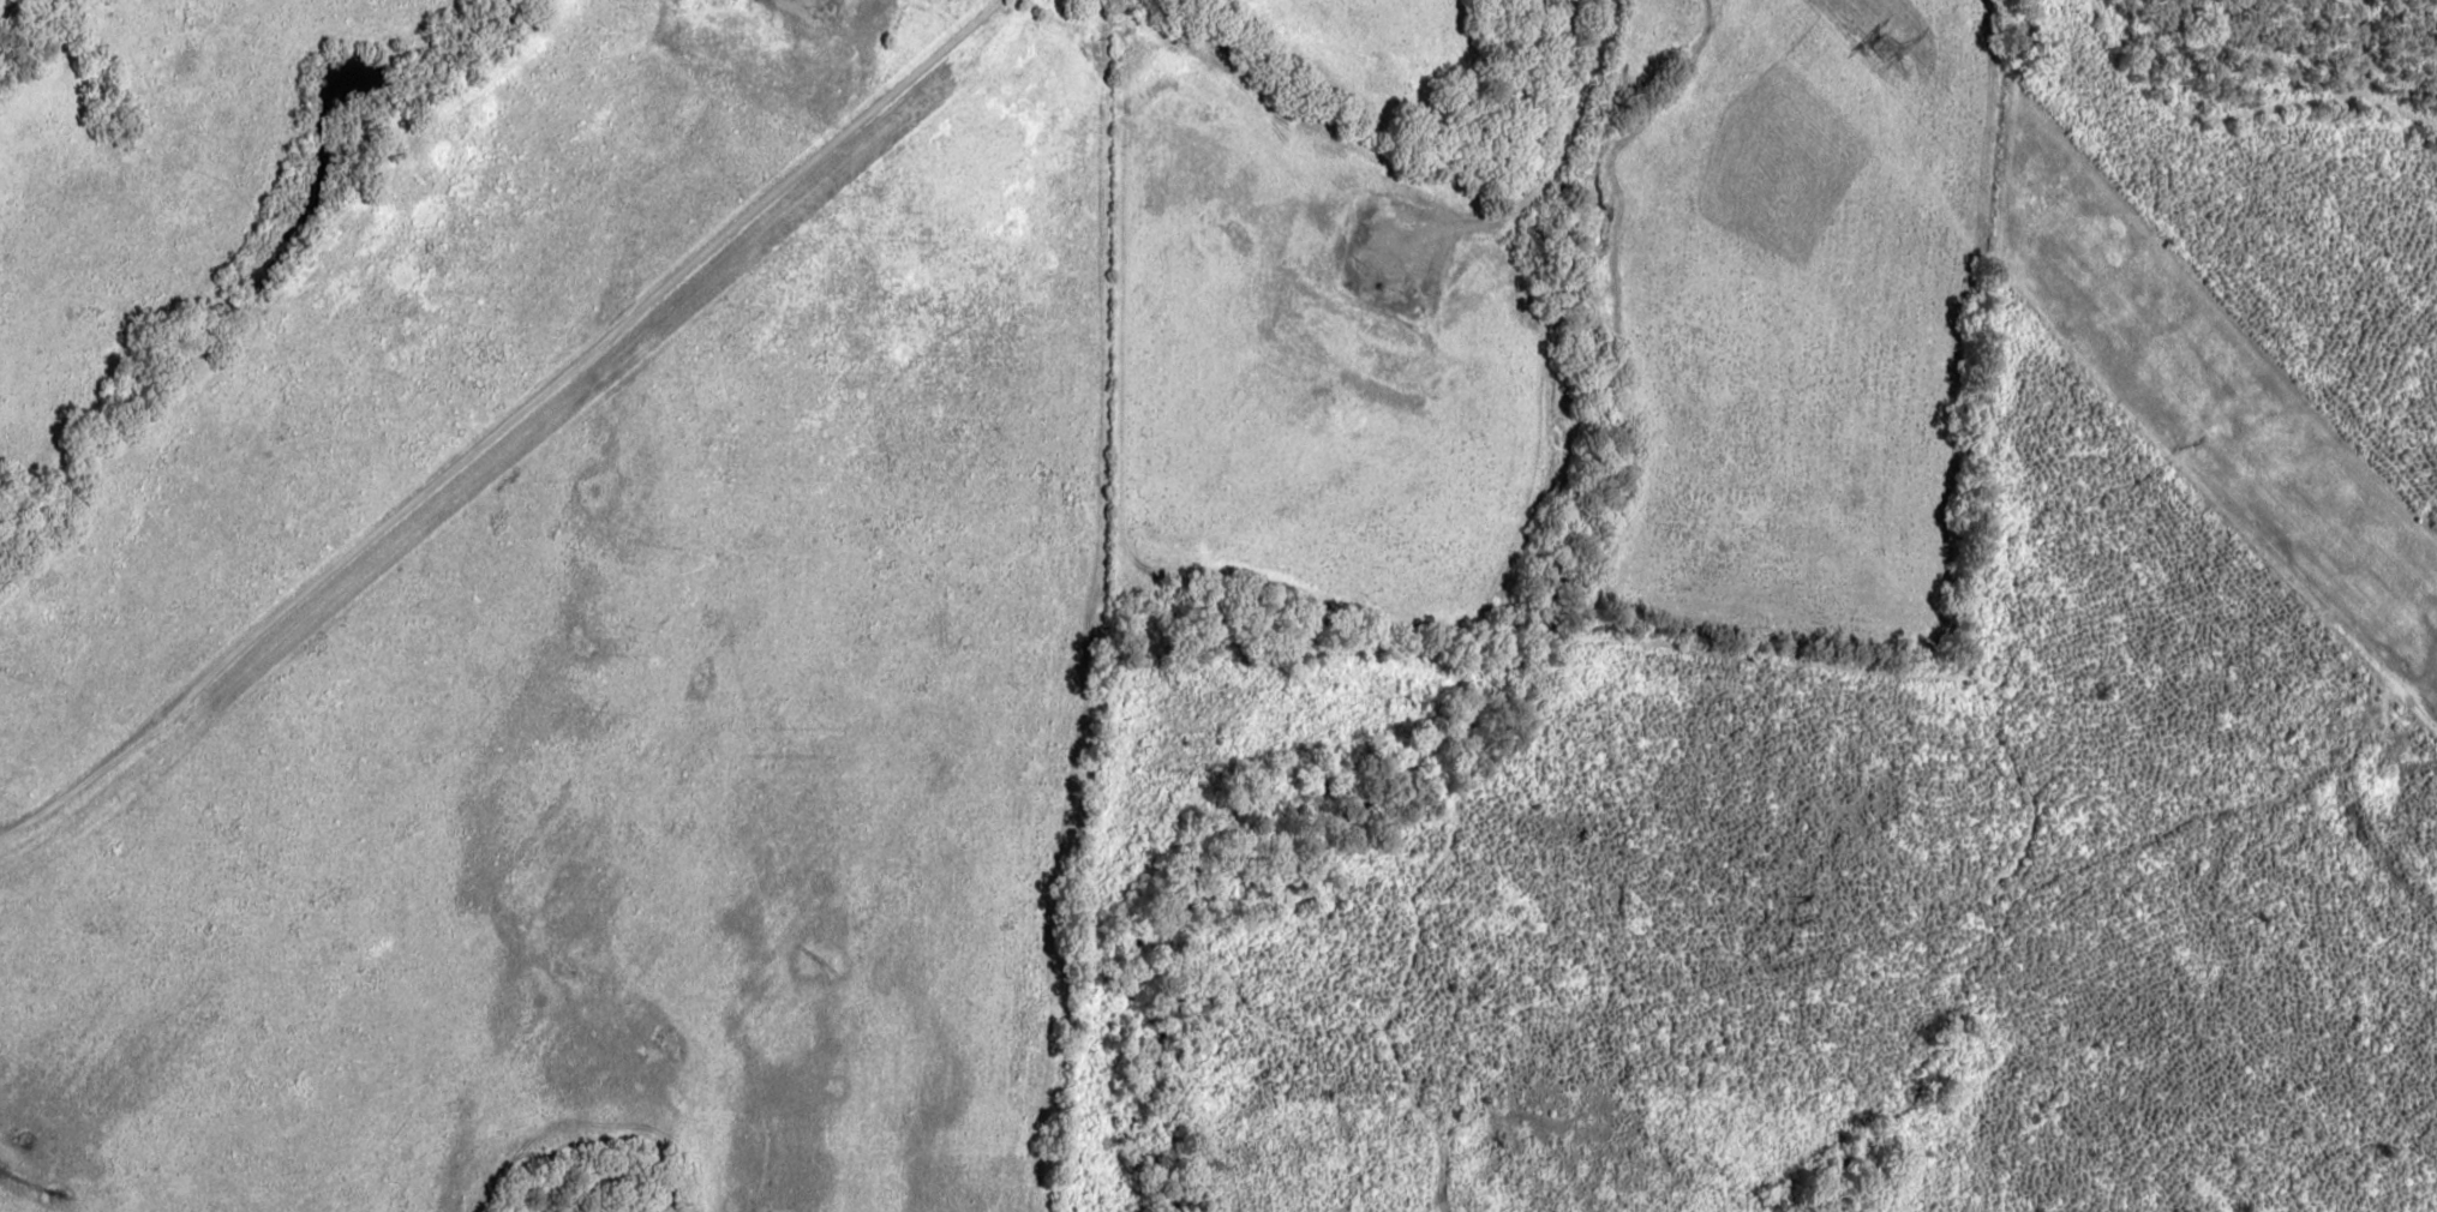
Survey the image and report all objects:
power tower: (1890, 54)

